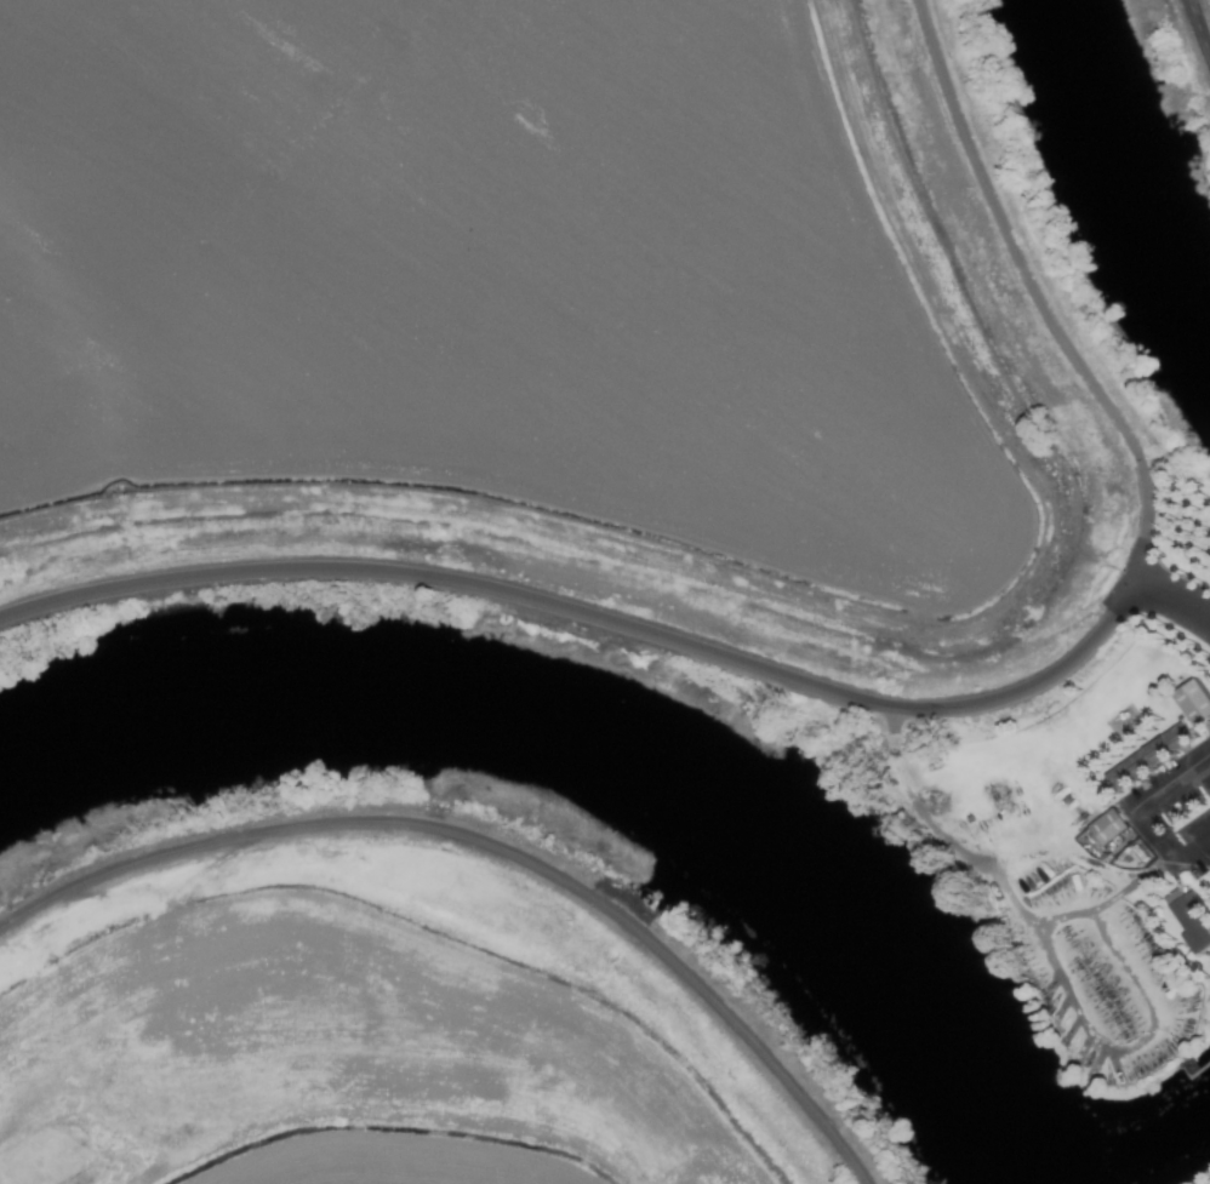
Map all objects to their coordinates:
road: (1200, 24)
road: (1009, 233)
crop: (564, 328)
road: (1154, 509)
road: (814, 573)
road: (1176, 588)
road: (603, 618)
building: (1191, 703)
building: (1145, 756)
parking lot: (1176, 811)
road: (1138, 813)
building: (1106, 828)
road: (1063, 856)
road: (1060, 919)
building: (1187, 922)
road: (1063, 995)
crop: (355, 1019)

